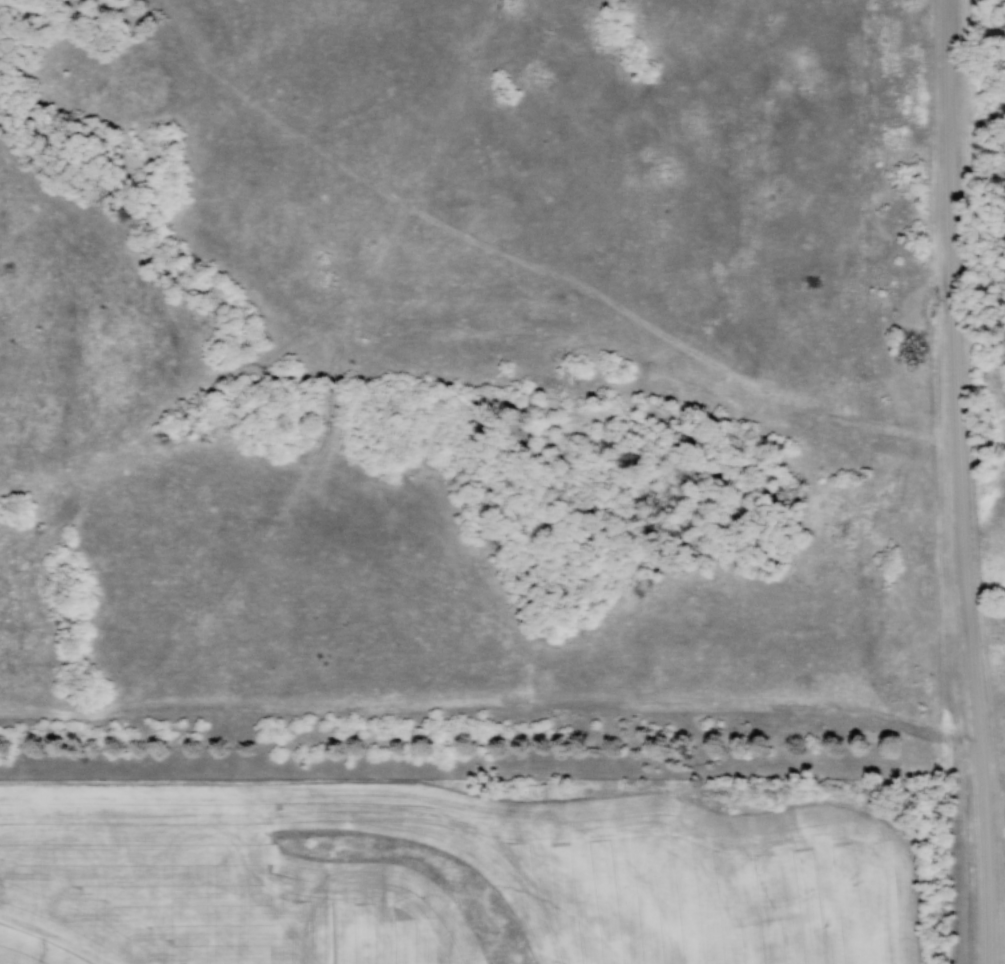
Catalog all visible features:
road: (957, 398)
park: (983, 403)
road: (988, 880)

